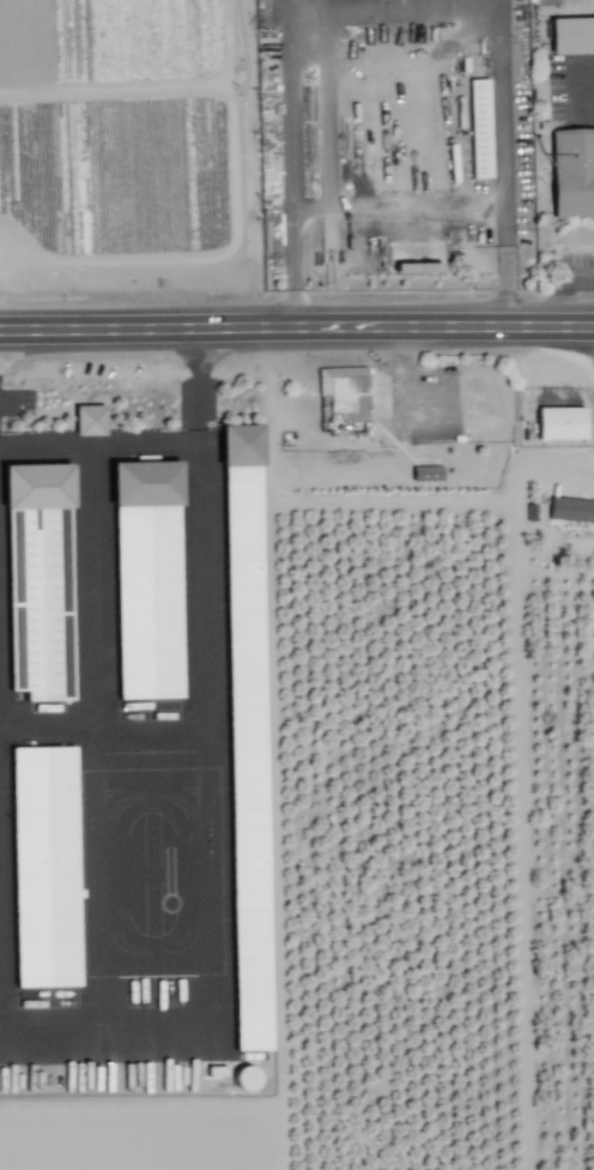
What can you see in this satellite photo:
road: (392, 10)
building: (574, 40)
building: (479, 128)
building: (574, 176)
road: (457, 211)
road: (291, 272)
road: (559, 287)
road: (297, 331)
building: (345, 392)
building: (89, 420)
building: (559, 423)
road: (346, 435)
building: (425, 474)
road: (404, 503)
building: (570, 509)
building: (37, 580)
building: (146, 580)
building: (246, 737)
road: (216, 789)
building: (43, 867)

